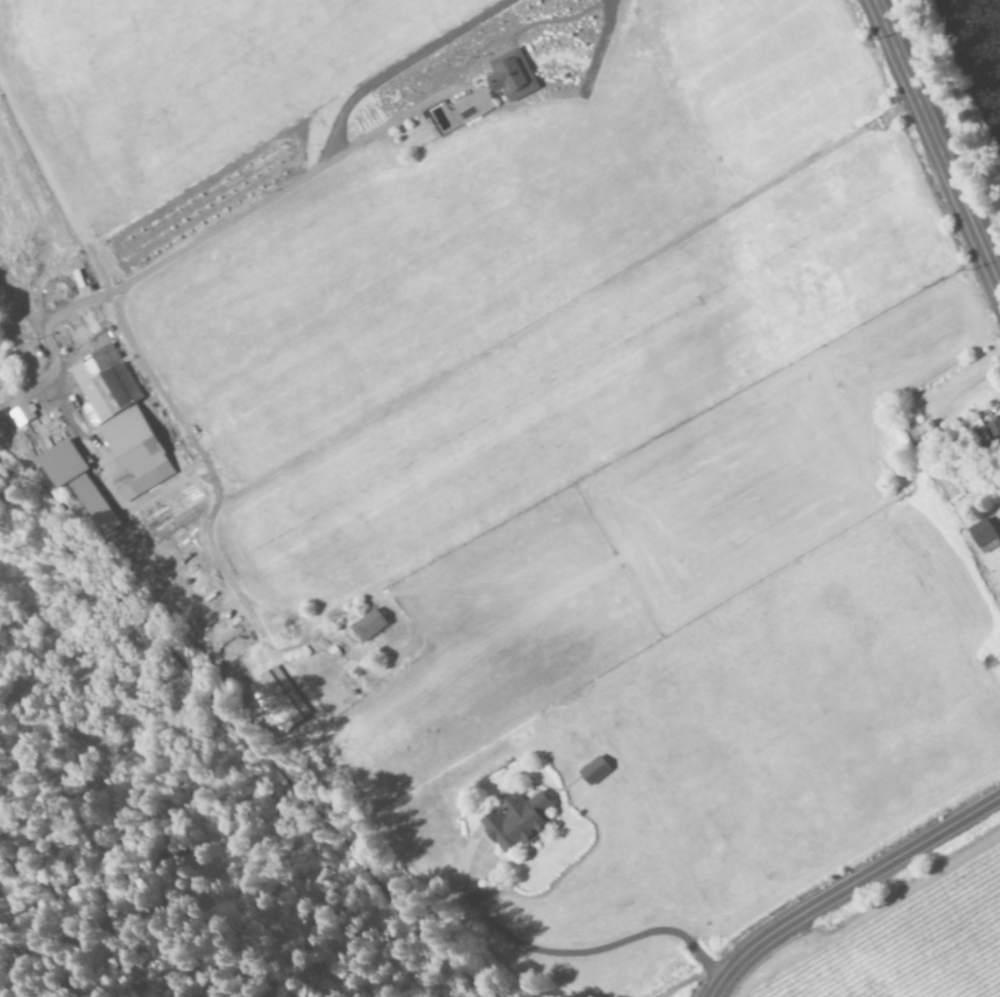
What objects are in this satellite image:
building: (515, 76)
building: (476, 106)
road: (389, 120)
road: (932, 132)
road: (540, 305)
building: (24, 415)
building: (123, 422)
building: (78, 483)
building: (979, 533)
building: (988, 547)
building: (370, 626)
building: (225, 662)
building: (279, 699)
building: (597, 771)
building: (520, 822)
road: (847, 890)

